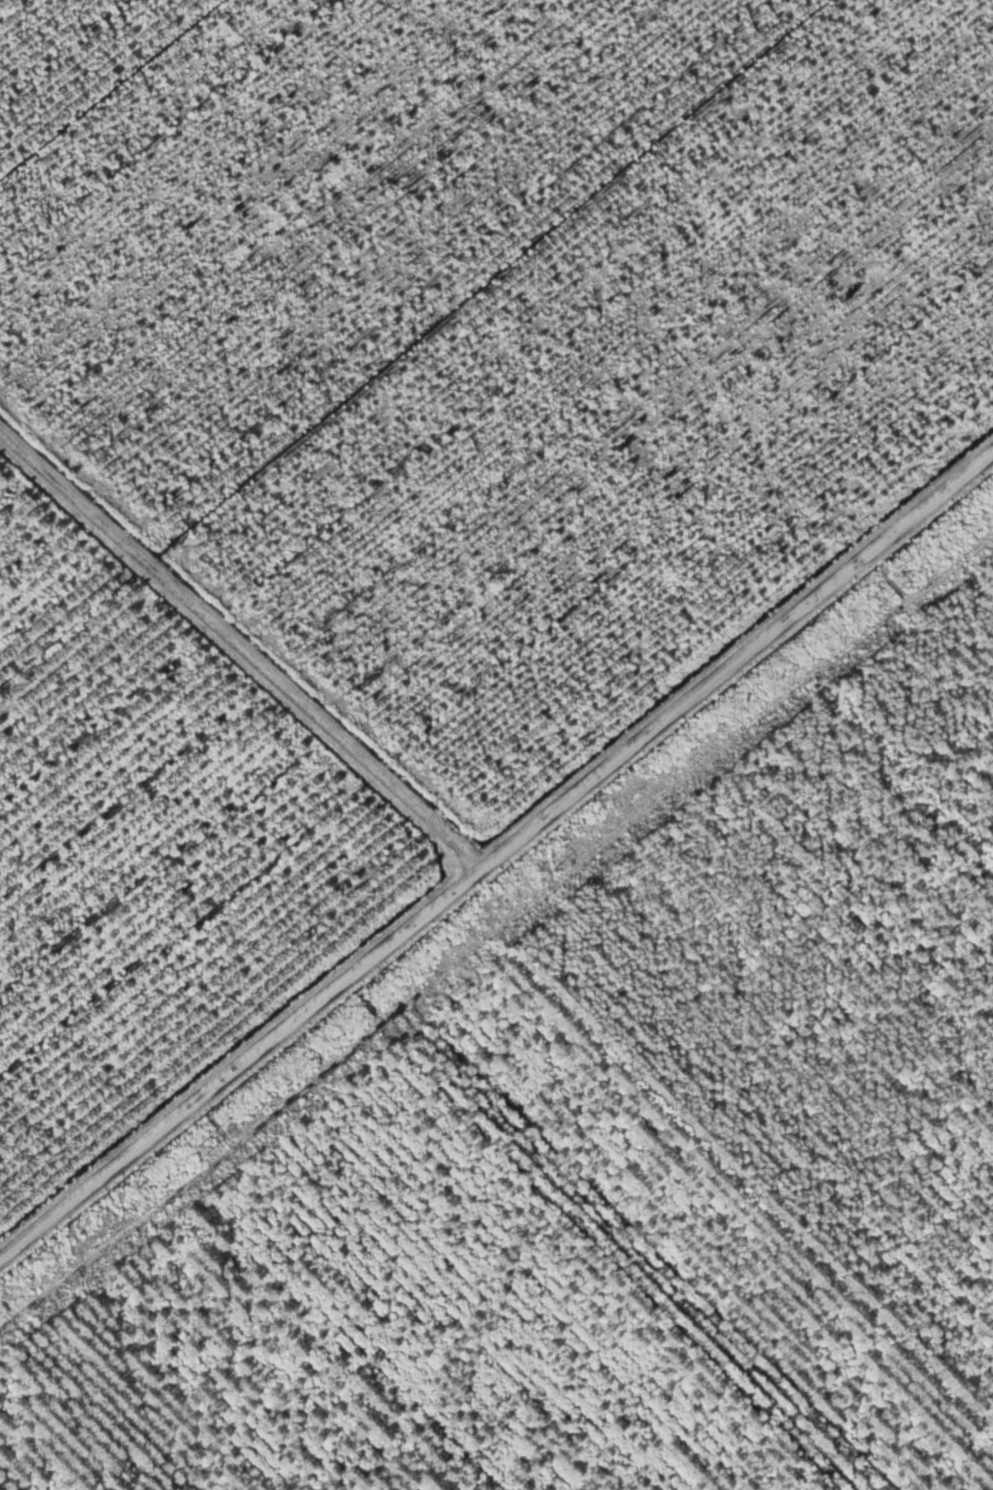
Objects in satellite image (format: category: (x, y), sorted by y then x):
power tower: (886, 600)
road: (237, 657)
road: (497, 856)
power tower: (544, 875)
power tower: (205, 1151)

